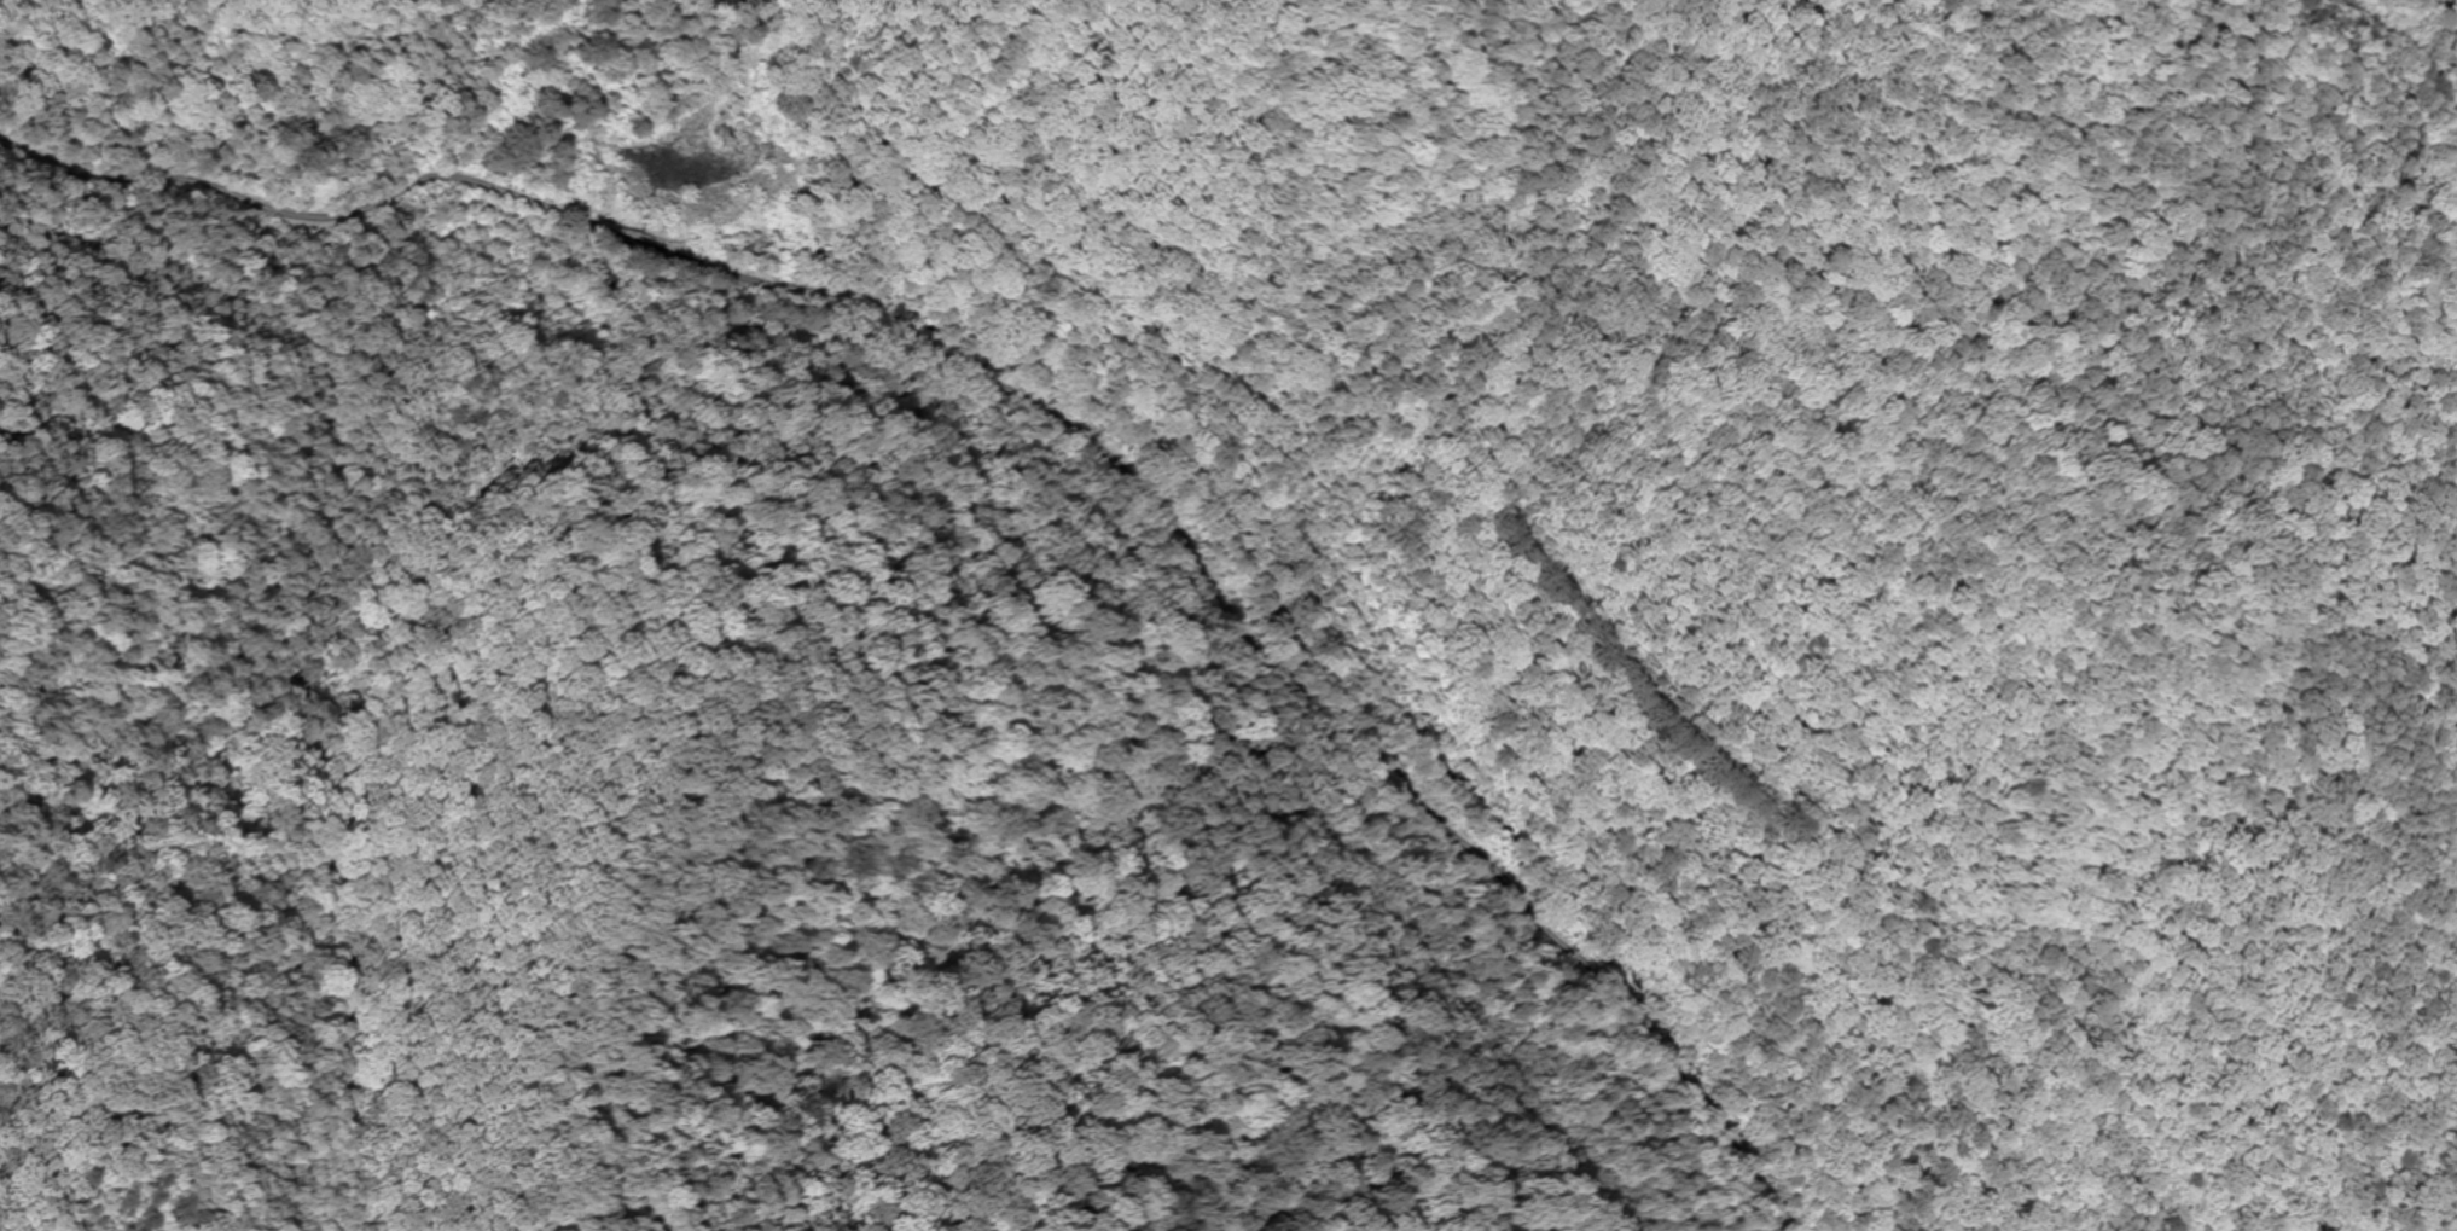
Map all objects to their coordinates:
road: (854, 295)
road: (1659, 1047)

